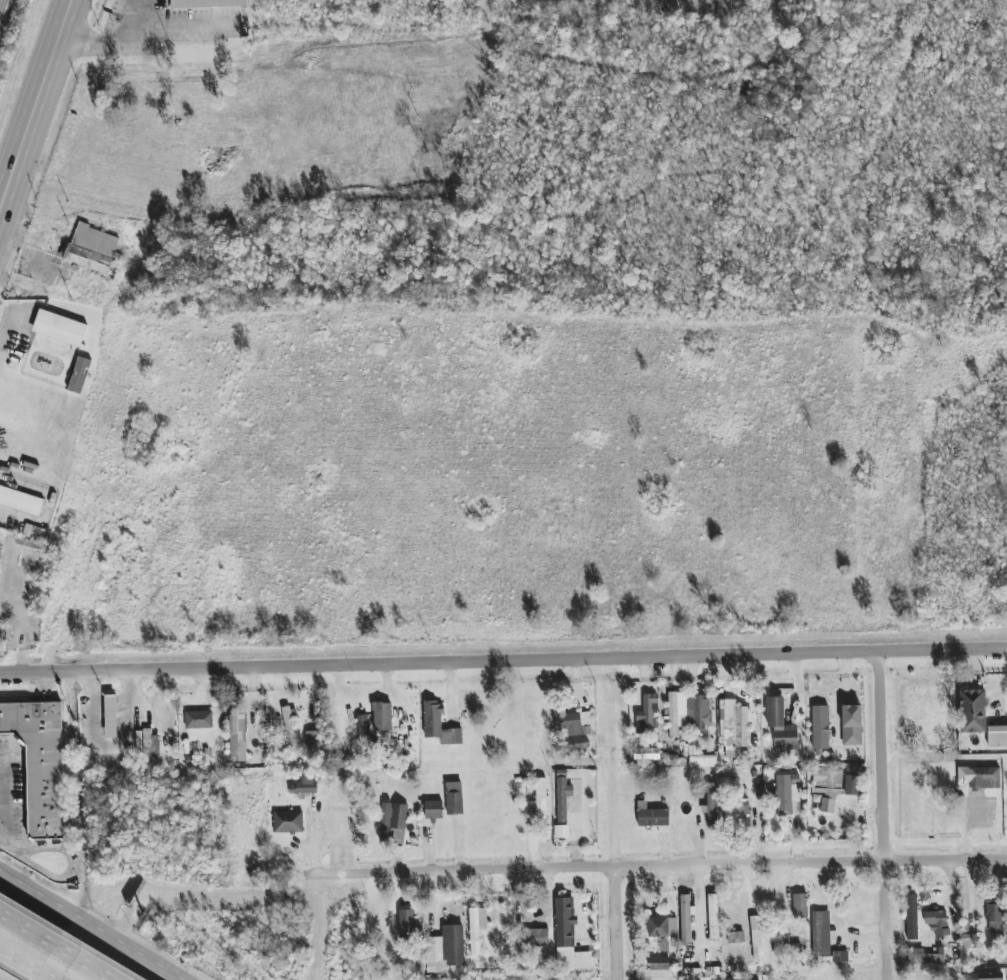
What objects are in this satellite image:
building: (208, 3)
railway: (2, 7)
road: (187, 32)
road: (122, 49)
road: (41, 120)
road: (232, 210)
building: (91, 249)
building: (59, 328)
building: (80, 375)
building: (21, 501)
building: (34, 532)
road: (503, 663)
building: (972, 711)
building: (687, 712)
building: (646, 714)
building: (111, 716)
building: (382, 717)
building: (198, 720)
building: (276, 723)
building: (289, 724)
building: (578, 724)
building: (780, 724)
building: (852, 725)
building: (439, 726)
building: (734, 727)
building: (363, 729)
building: (820, 729)
building: (997, 737)
building: (312, 738)
building: (238, 739)
building: (147, 744)
building: (578, 744)
road: (109, 746)
building: (703, 762)
building: (40, 763)
building: (983, 778)
building: (852, 785)
building: (303, 786)
building: (827, 787)
building: (787, 795)
building: (454, 798)
building: (562, 799)
building: (539, 801)
building: (711, 804)
building: (433, 810)
road: (620, 812)
building: (736, 814)
building: (653, 817)
road: (882, 819)
building: (288, 822)
building: (393, 823)
road: (814, 866)
road: (485, 875)
building: (800, 906)
building: (713, 917)
building: (912, 917)
building: (995, 917)
building: (685, 920)
building: (937, 922)
building: (406, 924)
road: (91, 925)
road: (622, 925)
building: (662, 927)
building: (476, 928)
building: (821, 934)
building: (535, 937)
building: (568, 938)
building: (756, 939)
building: (737, 940)
building: (969, 941)
road: (58, 946)
building: (445, 950)
building: (924, 957)
road: (27, 964)
building: (659, 964)
building: (985, 976)

